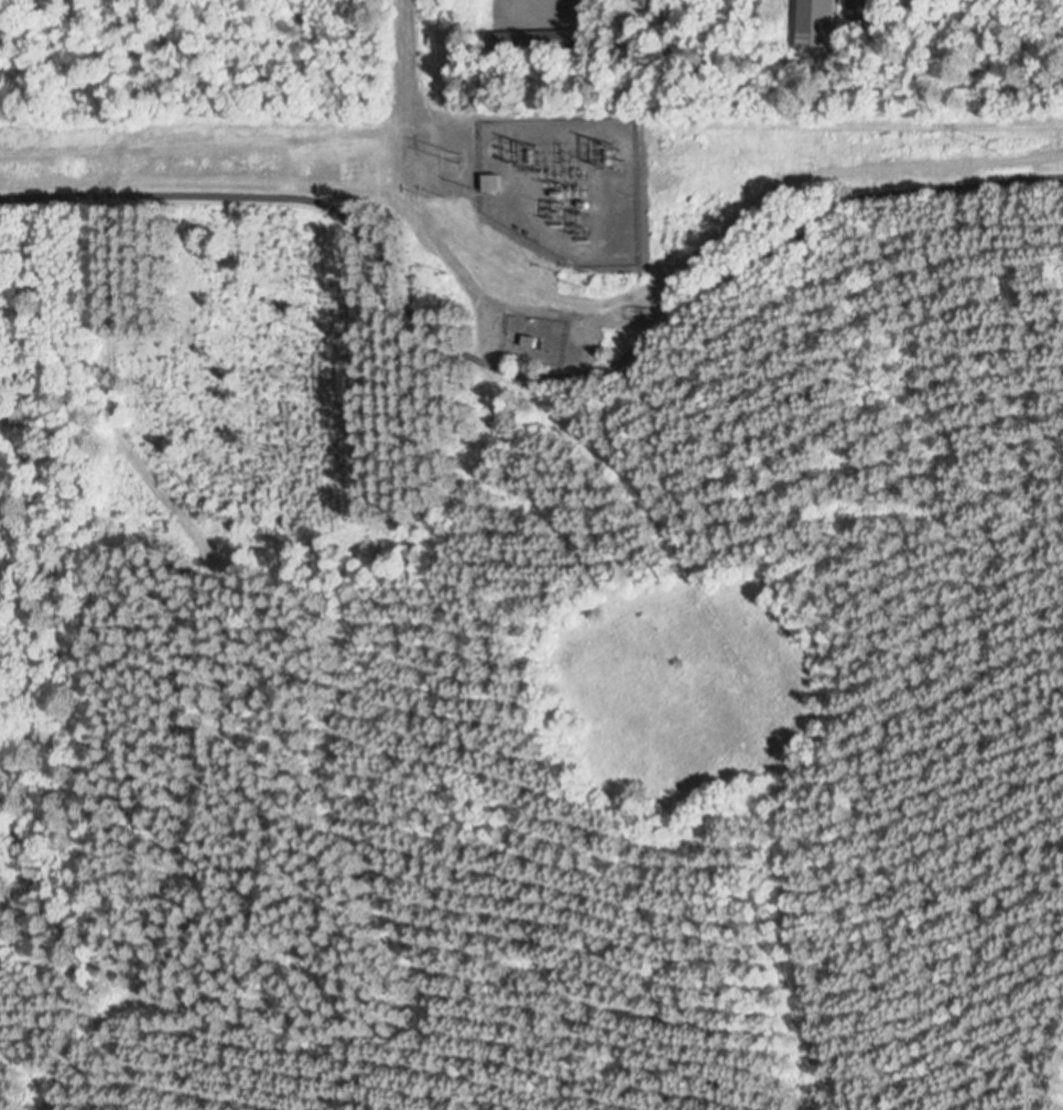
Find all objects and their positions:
building: (856, 7)
building: (823, 23)
building: (533, 44)
power tower: (997, 143)
power tower: (525, 153)
power tower: (612, 154)
building: (495, 184)
power substation: (566, 184)
building: (621, 240)
building: (528, 339)
road: (523, 380)

